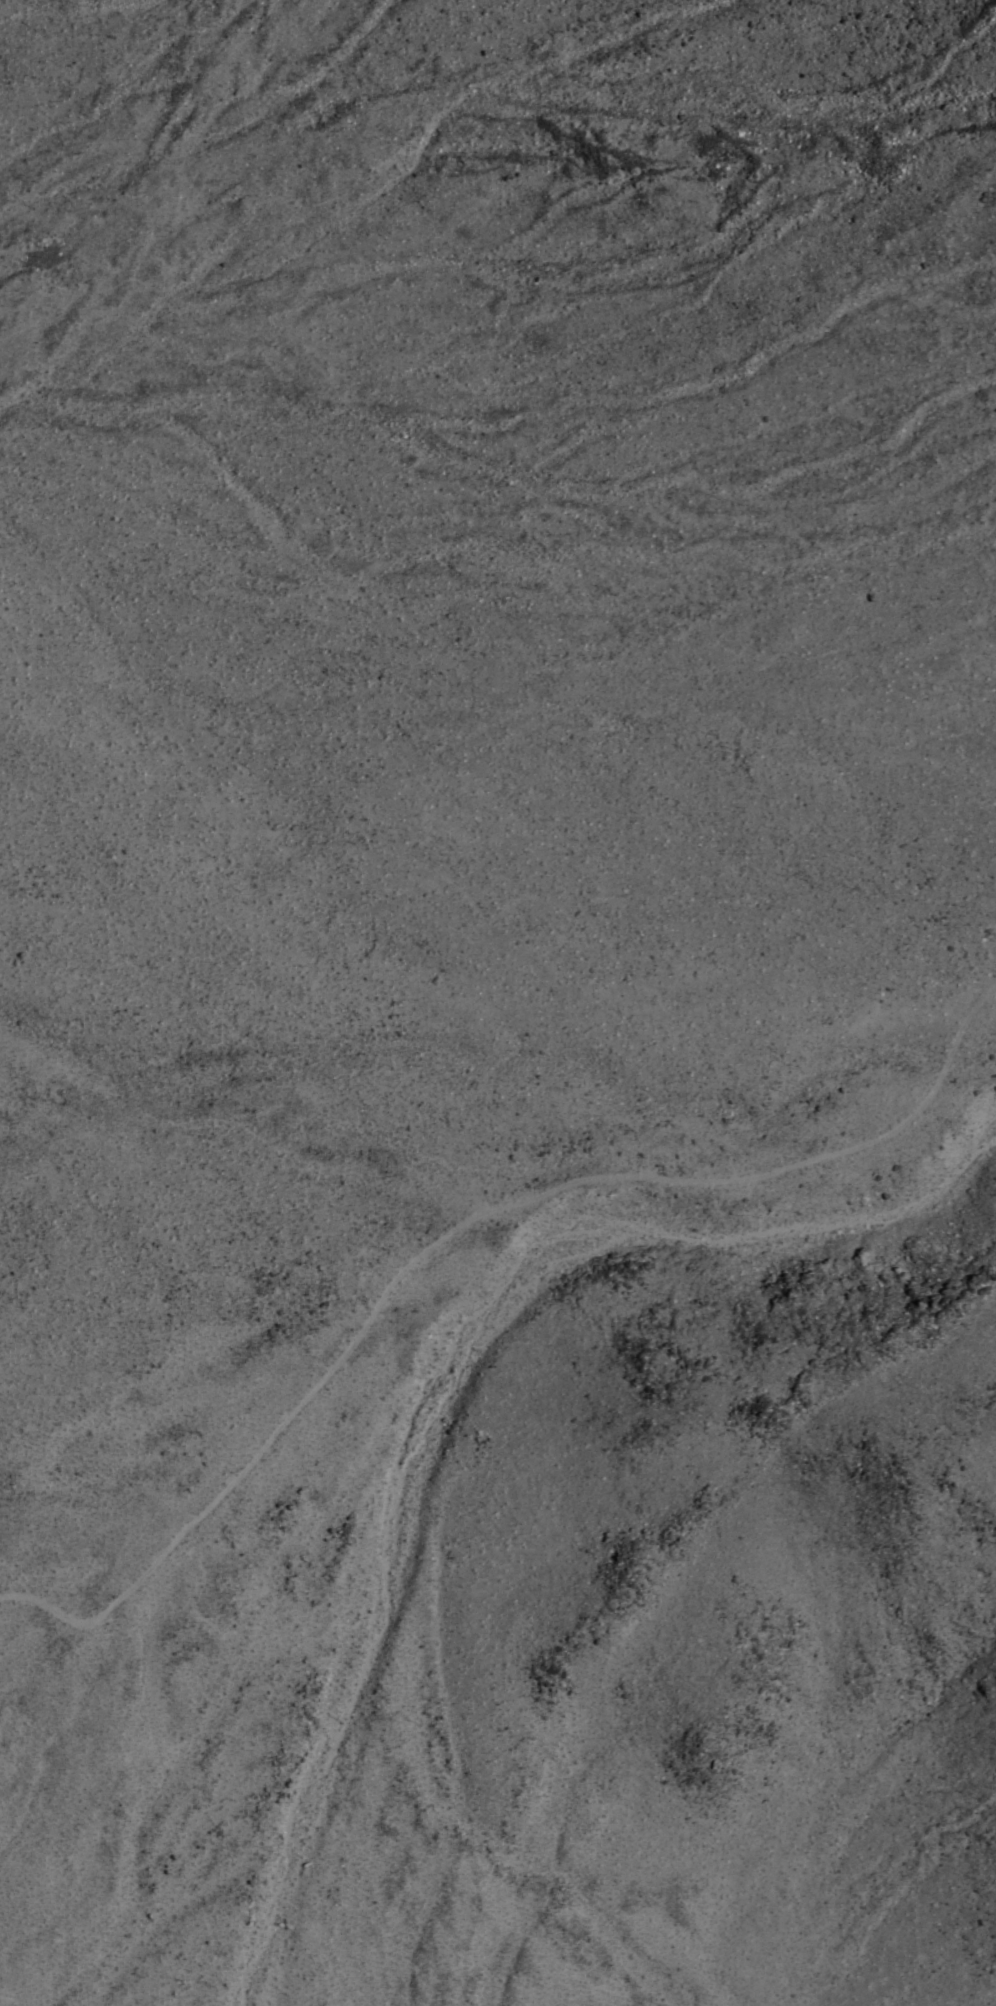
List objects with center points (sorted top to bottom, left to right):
road: (454, 1226)

